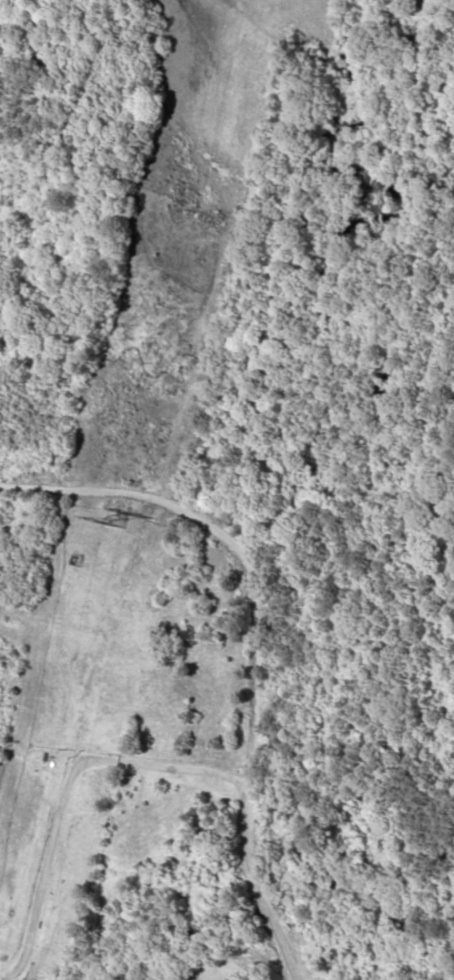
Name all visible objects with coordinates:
power tower: (133, 526)
road: (255, 639)

